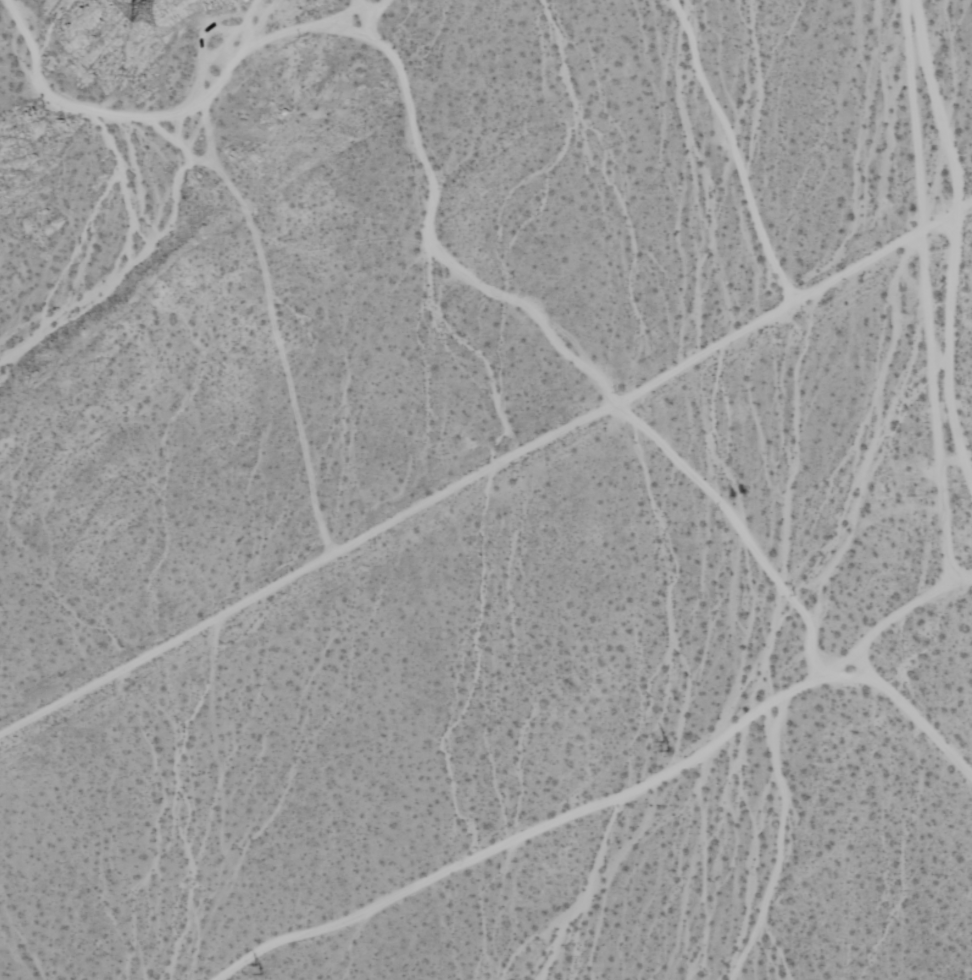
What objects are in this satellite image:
power tower: (148, 12)
road: (486, 468)
power tower: (668, 747)
power tower: (259, 970)

